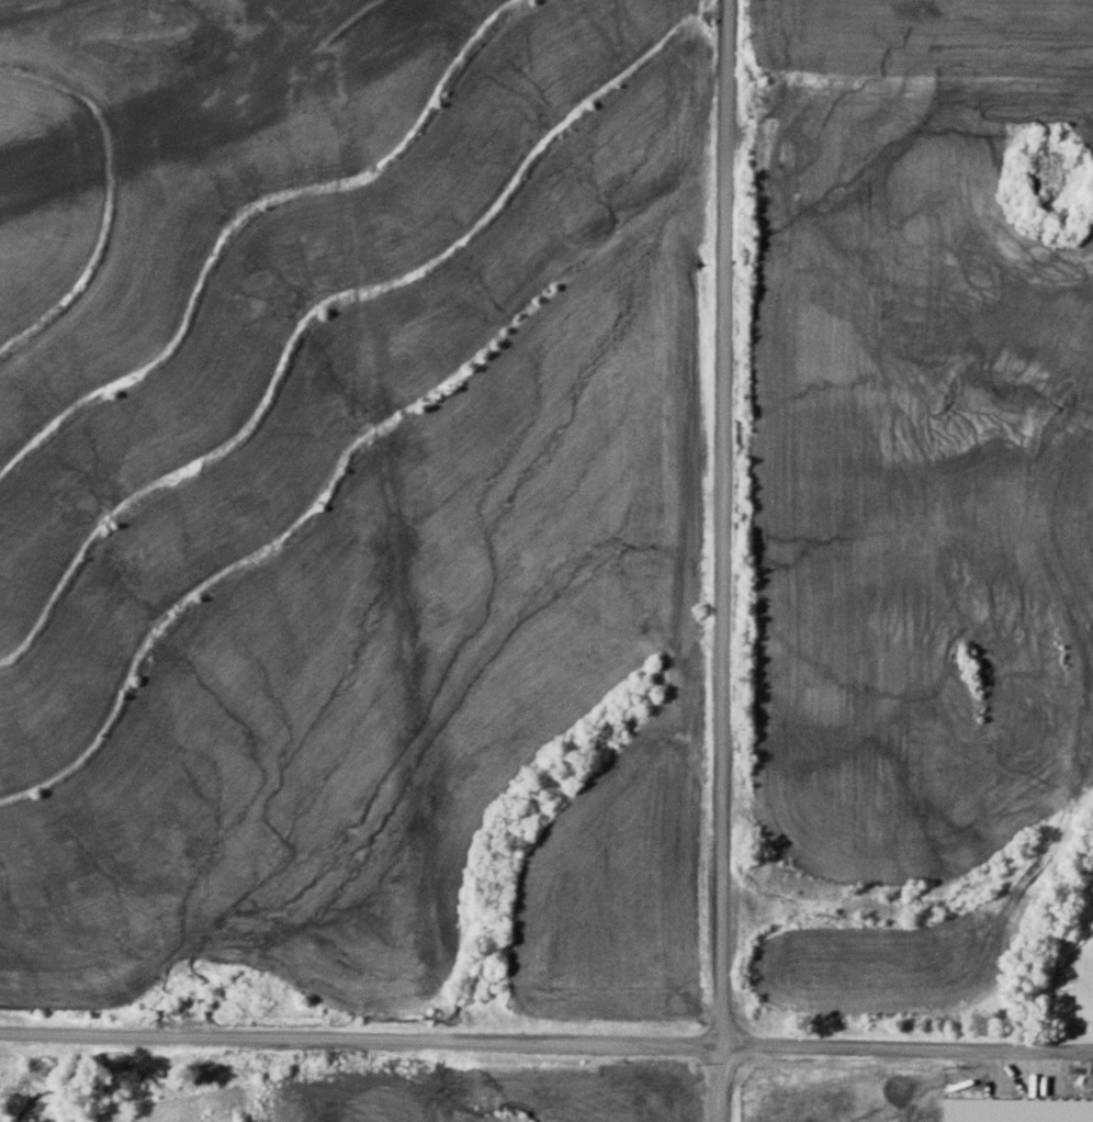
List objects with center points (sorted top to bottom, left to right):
road: (723, 561)
road: (545, 1042)

